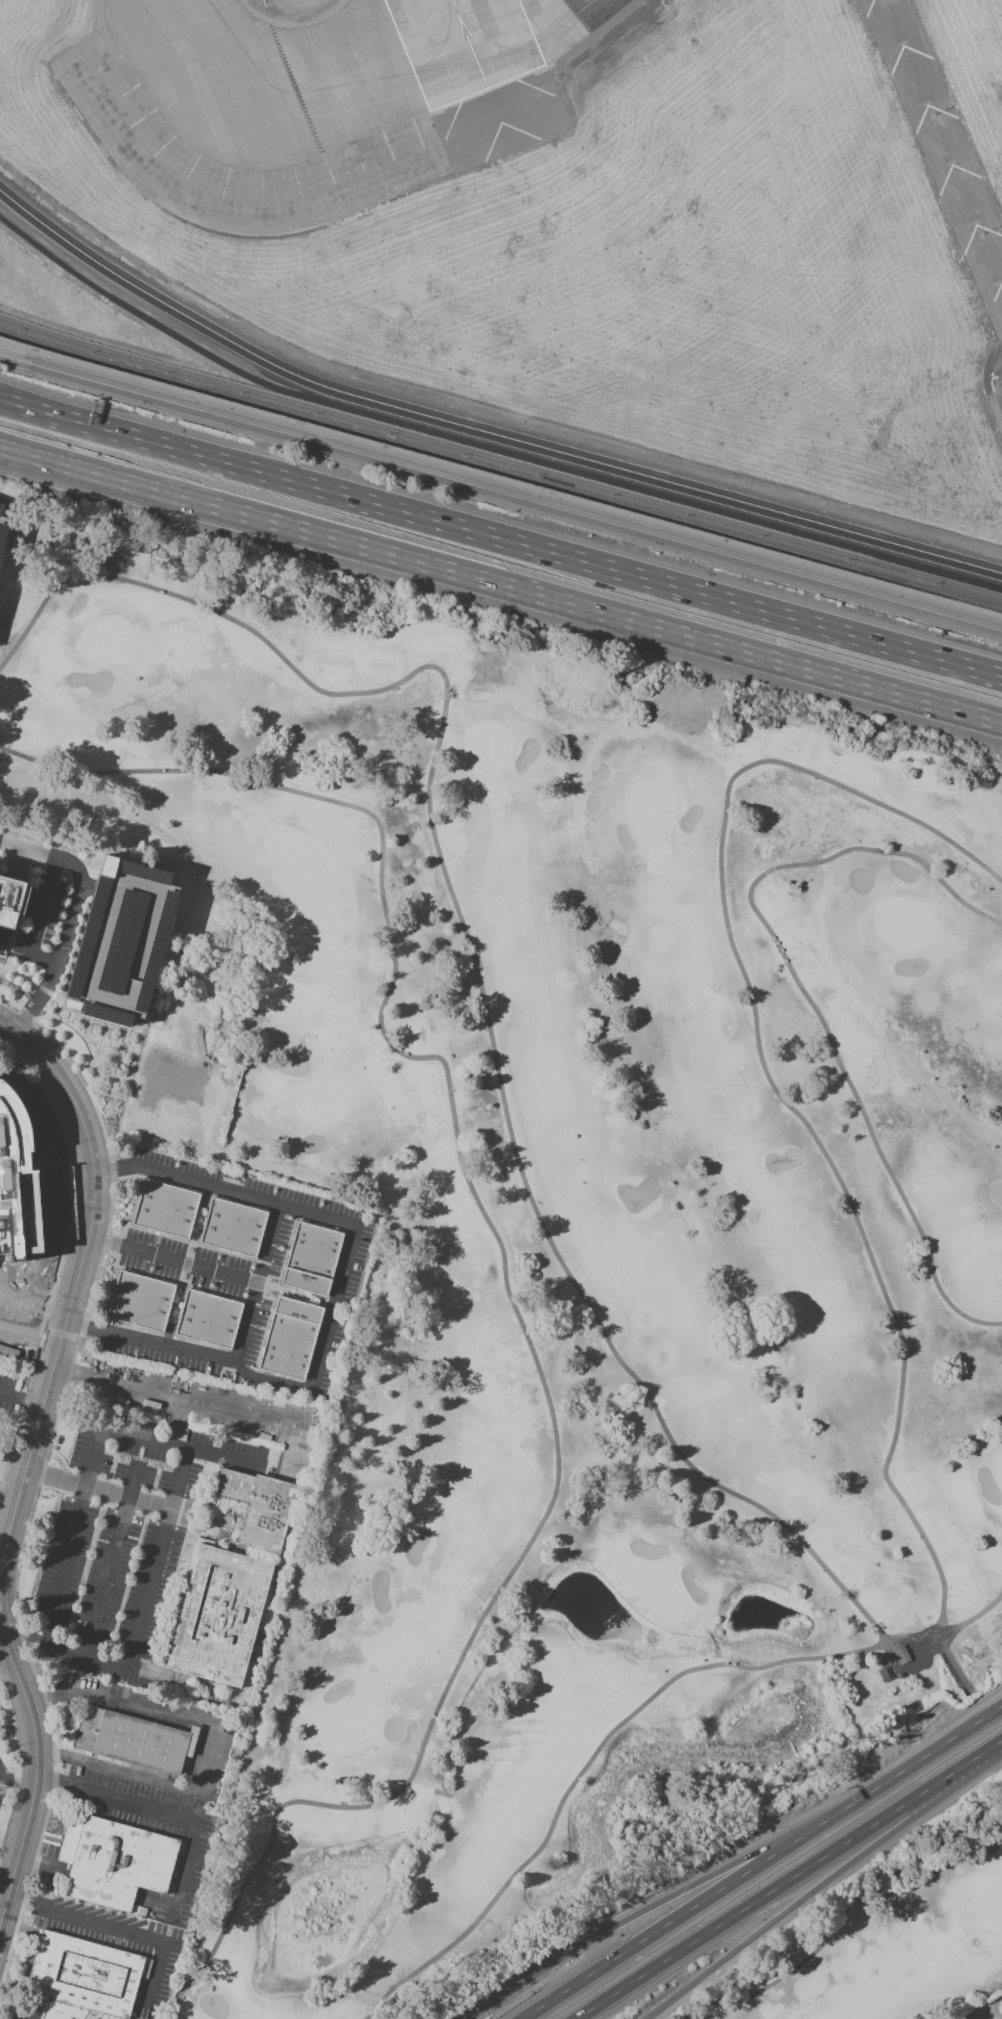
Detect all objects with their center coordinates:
airport taxiway: (360, 72)
airport taxiway: (386, 101)
airport: (574, 210)
road: (25, 364)
road: (3, 401)
road: (3, 402)
road: (14, 405)
road: (479, 432)
road: (3, 450)
road: (3, 451)
railway: (500, 460)
railway: (500, 471)
road: (500, 480)
road: (526, 502)
building: (4, 525)
parking lot: (4, 525)
road: (512, 541)
road: (504, 587)
road: (12, 845)
road: (94, 859)
road: (19, 866)
building: (9, 903)
road: (17, 912)
parking lot: (39, 918)
road: (39, 919)
road: (68, 929)
road: (6, 930)
building: (120, 943)
parking lot: (120, 943)
road: (474, 960)
road: (30, 982)
road: (803, 991)
road: (6, 1028)
road: (80, 1036)
building: (231, 1069)
road: (766, 1077)
building: (177, 1120)
building: (6, 1126)
road: (107, 1150)
road: (75, 1176)
road: (25, 1192)
building: (165, 1209)
road: (347, 1224)
building: (233, 1227)
park: (551, 1228)
building: (311, 1258)
road: (172, 1260)
road: (506, 1288)
building: (141, 1302)
building: (208, 1319)
road: (62, 1335)
building: (289, 1338)
road: (29, 1339)
road: (229, 1362)
road: (167, 1393)
road: (21, 1402)
road: (22, 1413)
road: (172, 1420)
road: (27, 1466)
road: (98, 1490)
road: (84, 1493)
road: (9, 1495)
building: (258, 1507)
road: (167, 1520)
road: (5, 1527)
building: (259, 1555)
road: (112, 1561)
park: (652, 1587)
building: (218, 1614)
road: (0, 1617)
road: (974, 1617)
road: (914, 1640)
building: (899, 1654)
road: (5, 1655)
road: (116, 1662)
road: (30, 1664)
road: (956, 1666)
building: (133, 1740)
road: (209, 1744)
road: (983, 1753)
road: (919, 1760)
road: (588, 1761)
road: (18, 1775)
road: (16, 1784)
road: (163, 1811)
building: (115, 1861)
road: (6, 1872)
road: (771, 1892)
road: (808, 1895)
road: (2, 1906)
road: (649, 1907)
road: (680, 1916)
road: (836, 1922)
road: (117, 1924)
park: (887, 1935)
building: (144, 1968)
building: (84, 1975)
road: (984, 2007)
road: (31, 2011)
building: (69, 2012)

